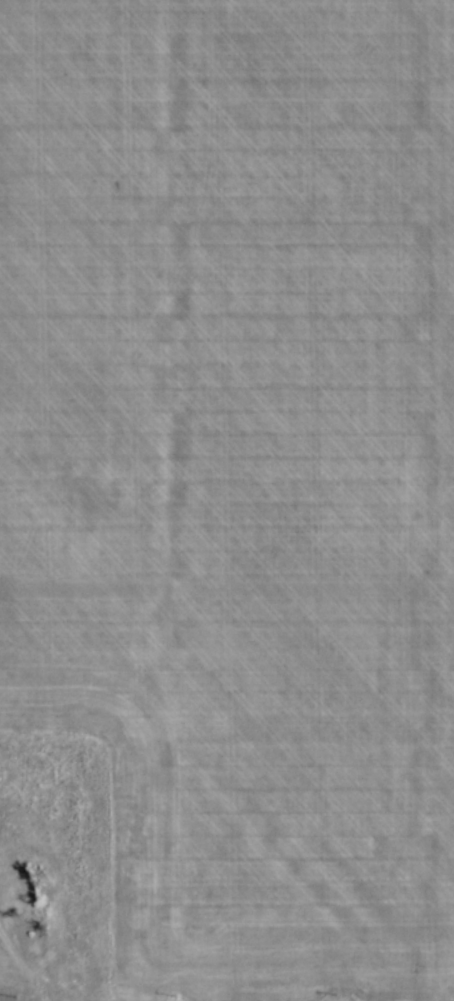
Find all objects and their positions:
crop: (230, 493)

